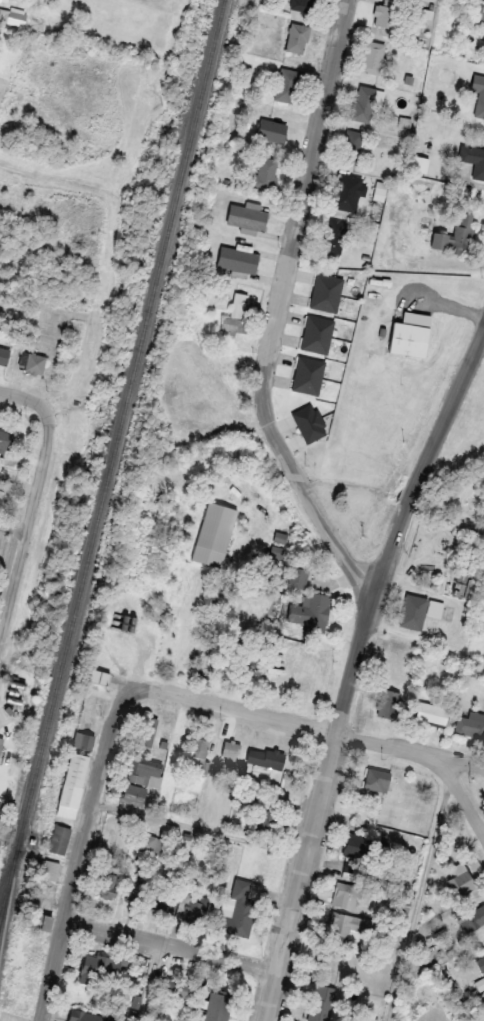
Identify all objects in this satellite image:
building: (0, 0)
building: (302, 5)
building: (479, 11)
building: (384, 13)
building: (297, 37)
building: (372, 57)
building: (477, 82)
building: (287, 84)
building: (363, 103)
building: (483, 117)
building: (278, 129)
building: (352, 146)
building: (473, 159)
building: (267, 172)
road: (306, 179)
building: (343, 191)
building: (247, 216)
building: (457, 235)
building: (335, 236)
building: (239, 257)
building: (326, 292)
building: (236, 315)
building: (317, 333)
building: (406, 338)
building: (3, 354)
building: (33, 361)
building: (308, 375)
road: (27, 395)
building: (5, 439)
railway: (112, 461)
road: (427, 462)
road: (302, 482)
road: (15, 525)
road: (29, 530)
building: (213, 534)
building: (466, 567)
building: (412, 611)
building: (308, 616)
building: (125, 622)
building: (247, 665)
building: (206, 670)
building: (99, 676)
building: (389, 704)
building: (430, 712)
road: (304, 717)
building: (471, 724)
building: (148, 730)
building: (84, 740)
building: (1, 742)
building: (199, 742)
building: (230, 749)
building: (265, 758)
building: (144, 771)
building: (377, 780)
building: (73, 784)
building: (415, 788)
road: (463, 791)
building: (133, 793)
road: (317, 804)
building: (242, 808)
building: (271, 817)
road: (200, 827)
building: (59, 839)
building: (148, 842)
building: (362, 846)
road: (83, 847)
building: (104, 854)
building: (51, 870)
building: (353, 870)
building: (462, 876)
building: (106, 885)
building: (136, 889)
building: (346, 894)
building: (165, 897)
road: (423, 900)
railway: (8, 902)
building: (402, 903)
building: (191, 905)
building: (239, 907)
building: (473, 918)
building: (41, 922)
building: (350, 924)
road: (172, 945)
building: (480, 963)
building: (103, 968)
road: (153, 982)
building: (173, 987)
building: (318, 1000)
building: (217, 1006)
building: (83, 1016)

